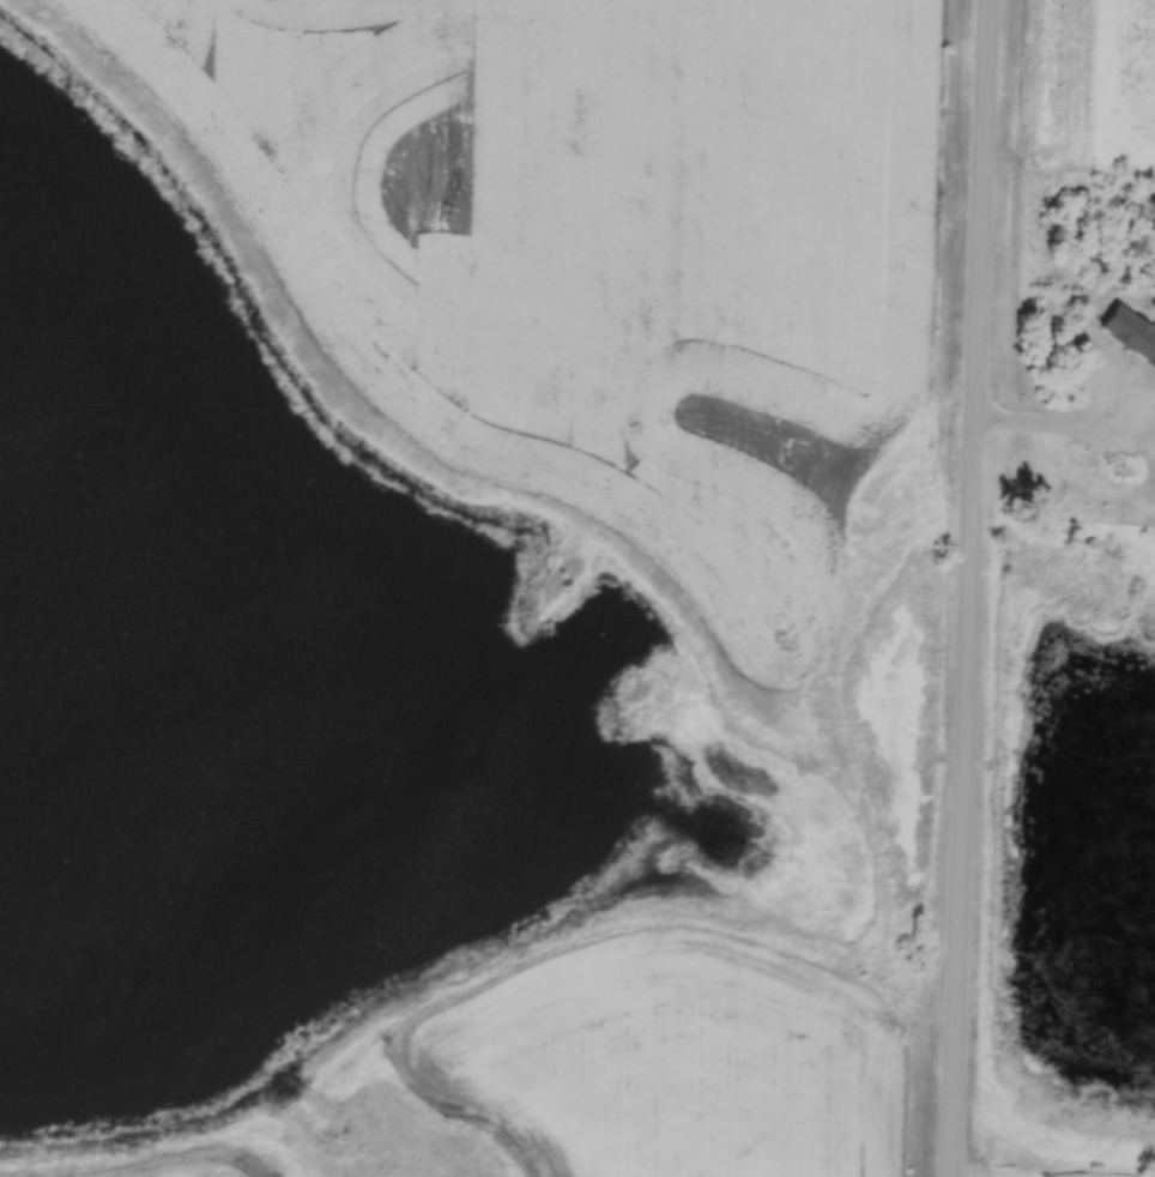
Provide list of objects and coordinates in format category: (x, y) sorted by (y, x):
building: (1114, 379)
road: (969, 588)

